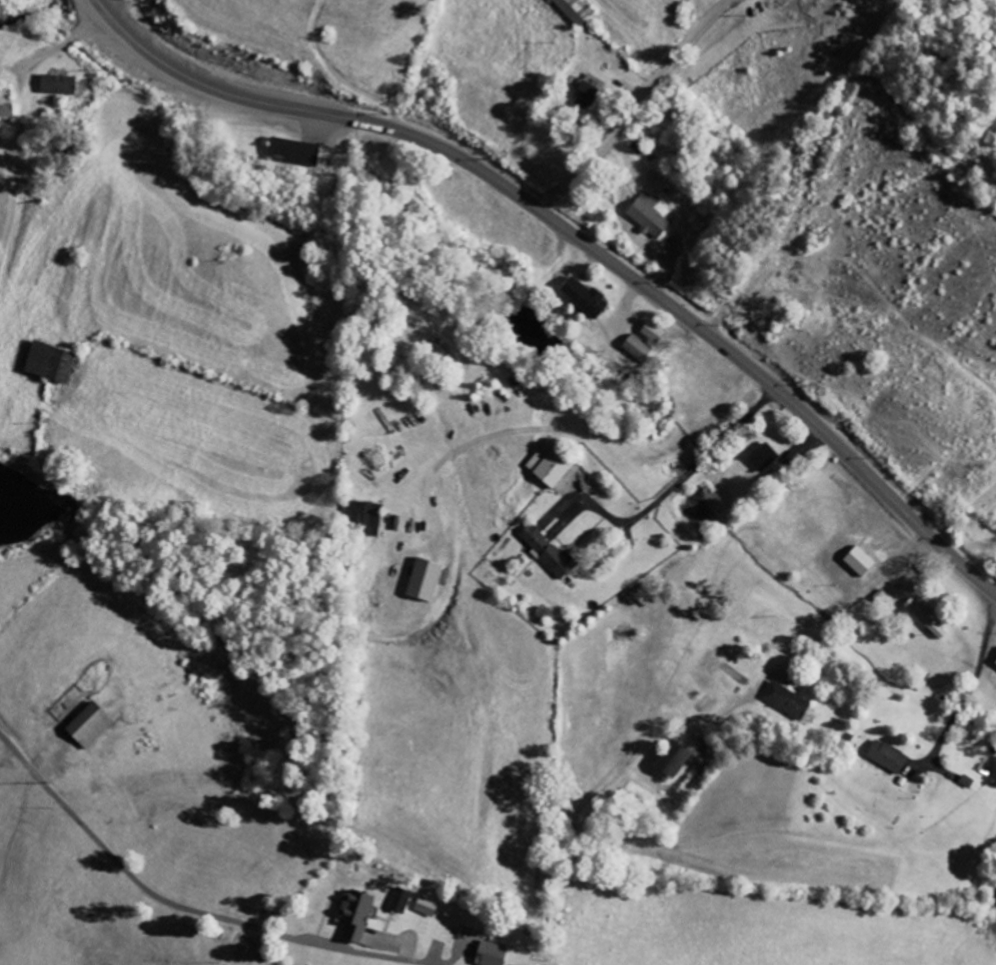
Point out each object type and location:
building: (575, 11)
building: (60, 85)
building: (590, 91)
road: (628, 108)
building: (295, 154)
building: (649, 217)
road: (564, 228)
building: (585, 298)
building: (654, 333)
building: (637, 350)
building: (51, 364)
building: (765, 458)
building: (552, 464)
building: (365, 512)
building: (550, 552)
building: (861, 561)
building: (425, 579)
building: (927, 618)
building: (787, 701)
building: (91, 726)
building: (889, 757)
building: (674, 760)
building: (401, 901)
building: (427, 907)
road: (186, 910)
building: (357, 914)
building: (491, 954)

